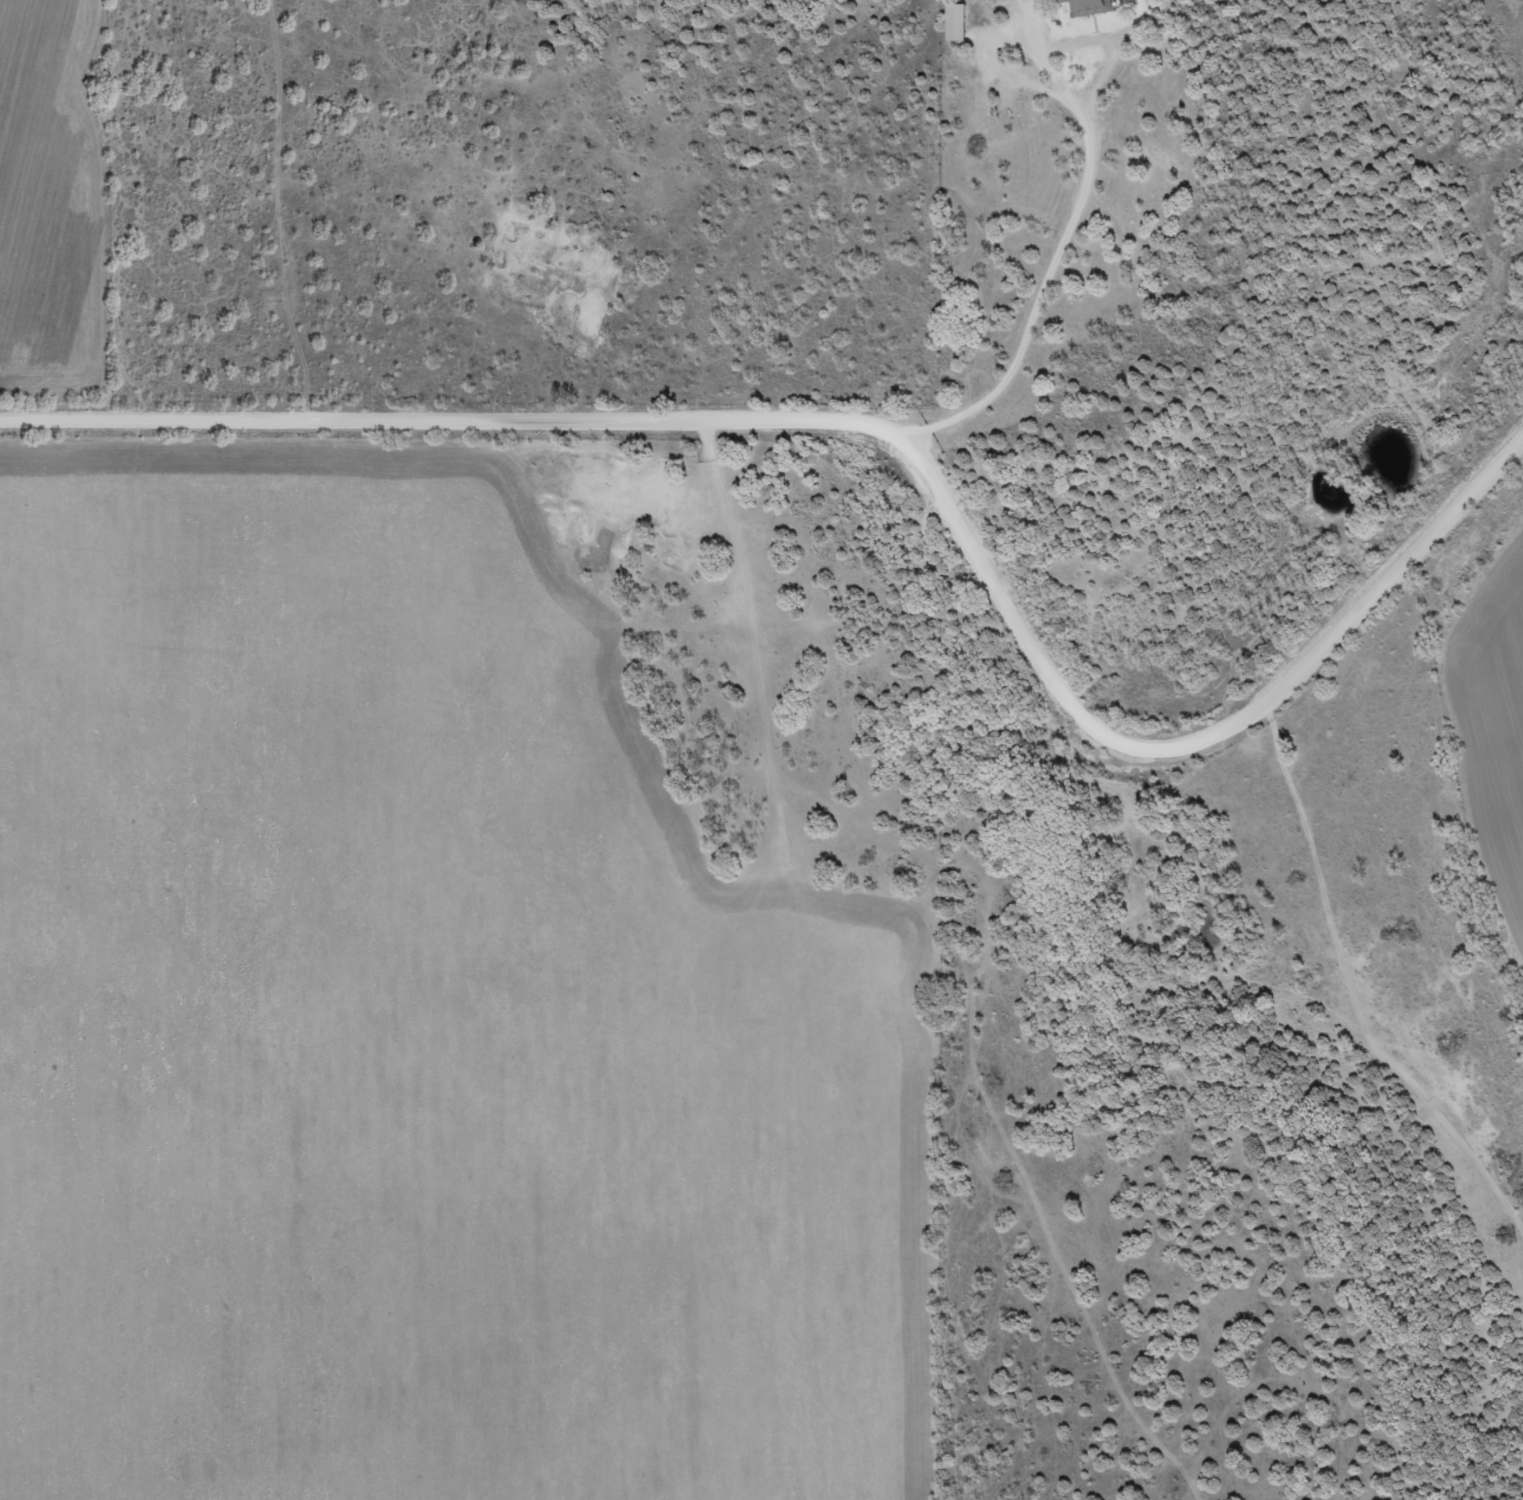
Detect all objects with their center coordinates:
building: (1088, 8)
building: (955, 21)
road: (1047, 274)
road: (900, 438)

